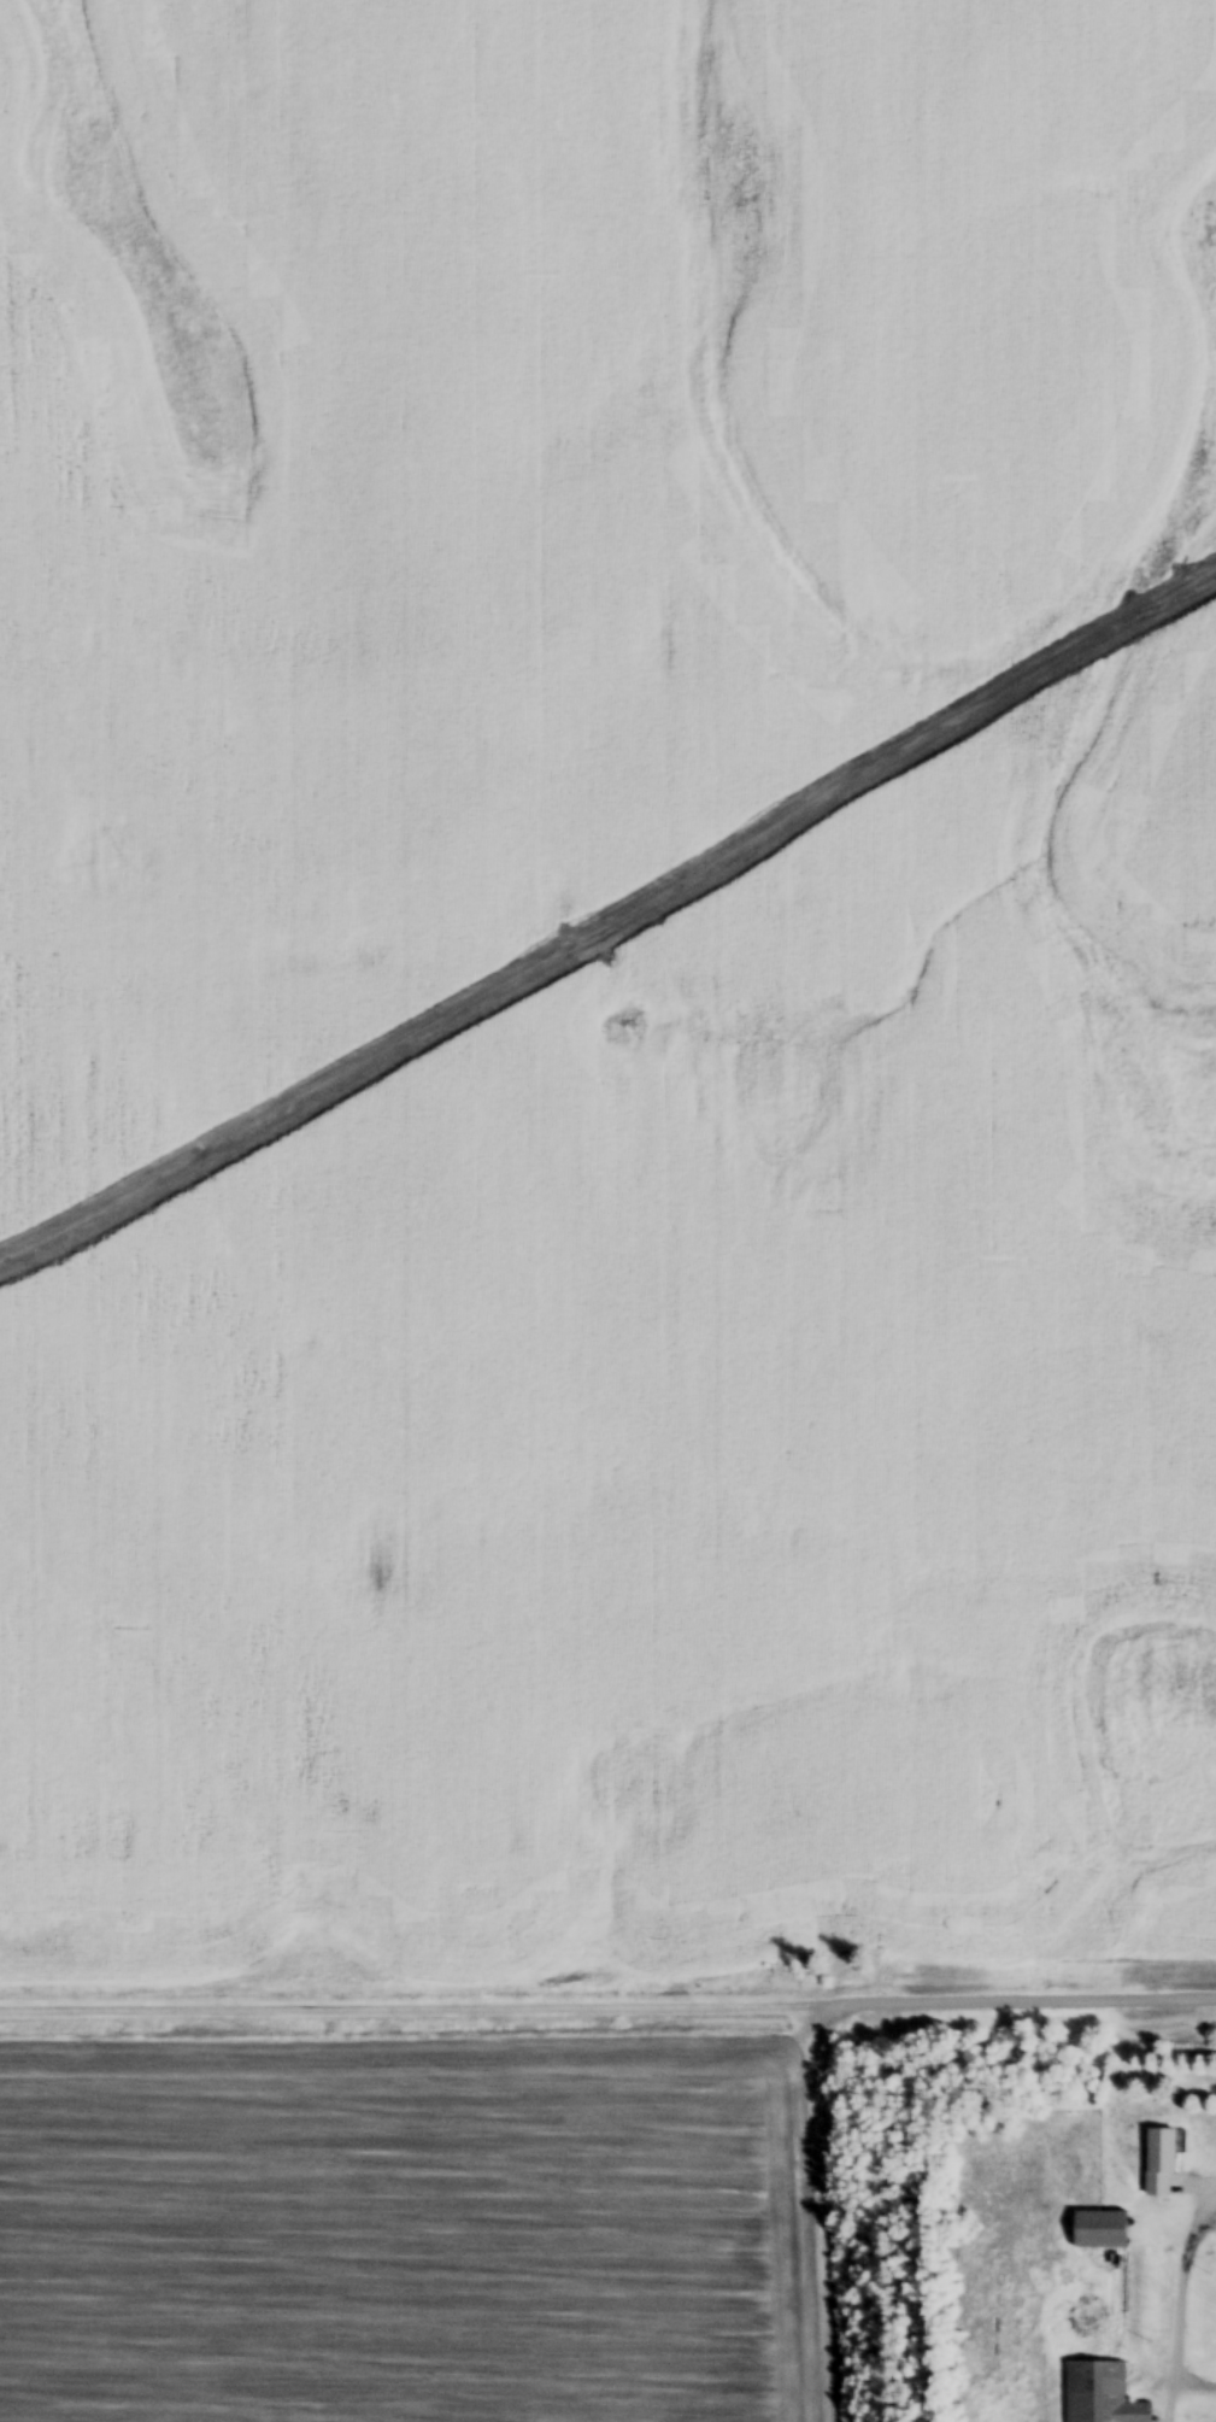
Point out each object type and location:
road: (1022, 1993)
building: (1161, 2164)
road: (1203, 2181)
building: (1102, 2232)
building: (1100, 2394)

